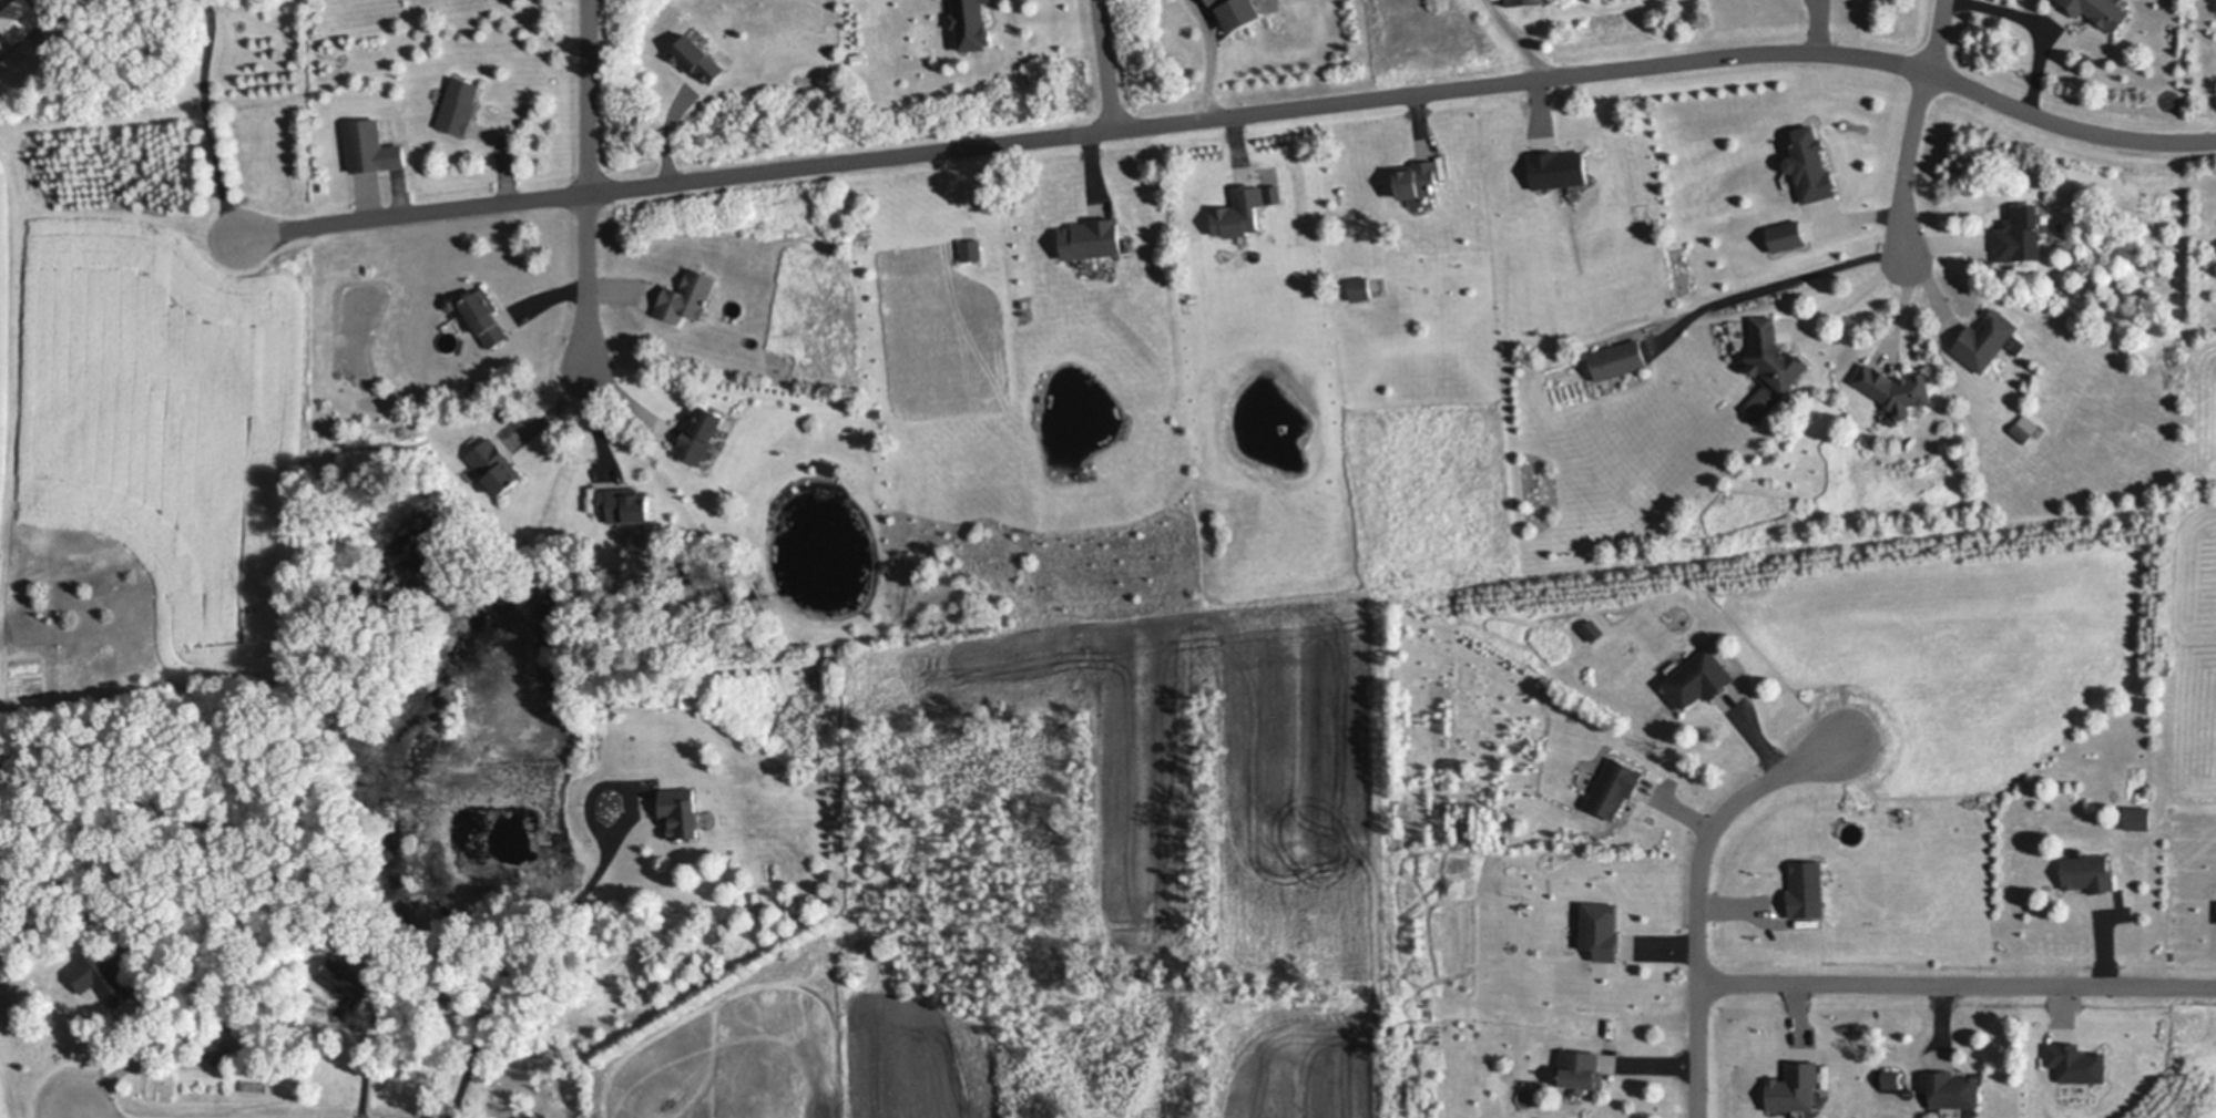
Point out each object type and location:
building: (1525, 1)
building: (1240, 10)
building: (2102, 11)
building: (971, 23)
road: (2040, 32)
road: (1937, 37)
building: (6, 38)
road: (1520, 39)
building: (697, 55)
road: (1213, 57)
building: (858, 58)
road: (1107, 65)
road: (589, 98)
building: (460, 104)
road: (1232, 116)
road: (208, 120)
building: (372, 145)
road: (507, 161)
building: (1811, 163)
road: (1906, 164)
building: (1563, 171)
building: (1418, 178)
building: (1275, 196)
building: (1240, 211)
building: (2020, 230)
building: (1788, 234)
building: (1092, 237)
building: (972, 252)
road: (590, 278)
road: (1771, 283)
building: (1360, 288)
building: (686, 295)
building: (451, 300)
road: (1854, 300)
building: (486, 315)
building: (1988, 338)
building: (1620, 357)
building: (1771, 367)
building: (1896, 388)
road: (598, 420)
building: (2022, 432)
building: (701, 433)
building: (497, 466)
building: (625, 504)
building: (1593, 629)
building: (1701, 678)
building: (633, 700)
road: (605, 779)
building: (1614, 787)
building: (681, 811)
building: (2138, 824)
building: (2089, 872)
building: (1809, 890)
road: (1699, 894)
building: (1604, 931)
road: (509, 964)
building: (103, 975)
building: (348, 977)
road: (1959, 986)
building: (309, 992)
building: (231, 1020)
building: (245, 1029)
building: (224, 1050)
building: (2080, 1064)
building: (1581, 1068)
building: (1892, 1076)
building: (1952, 1086)
building: (1797, 1089)
road: (80, 1117)

